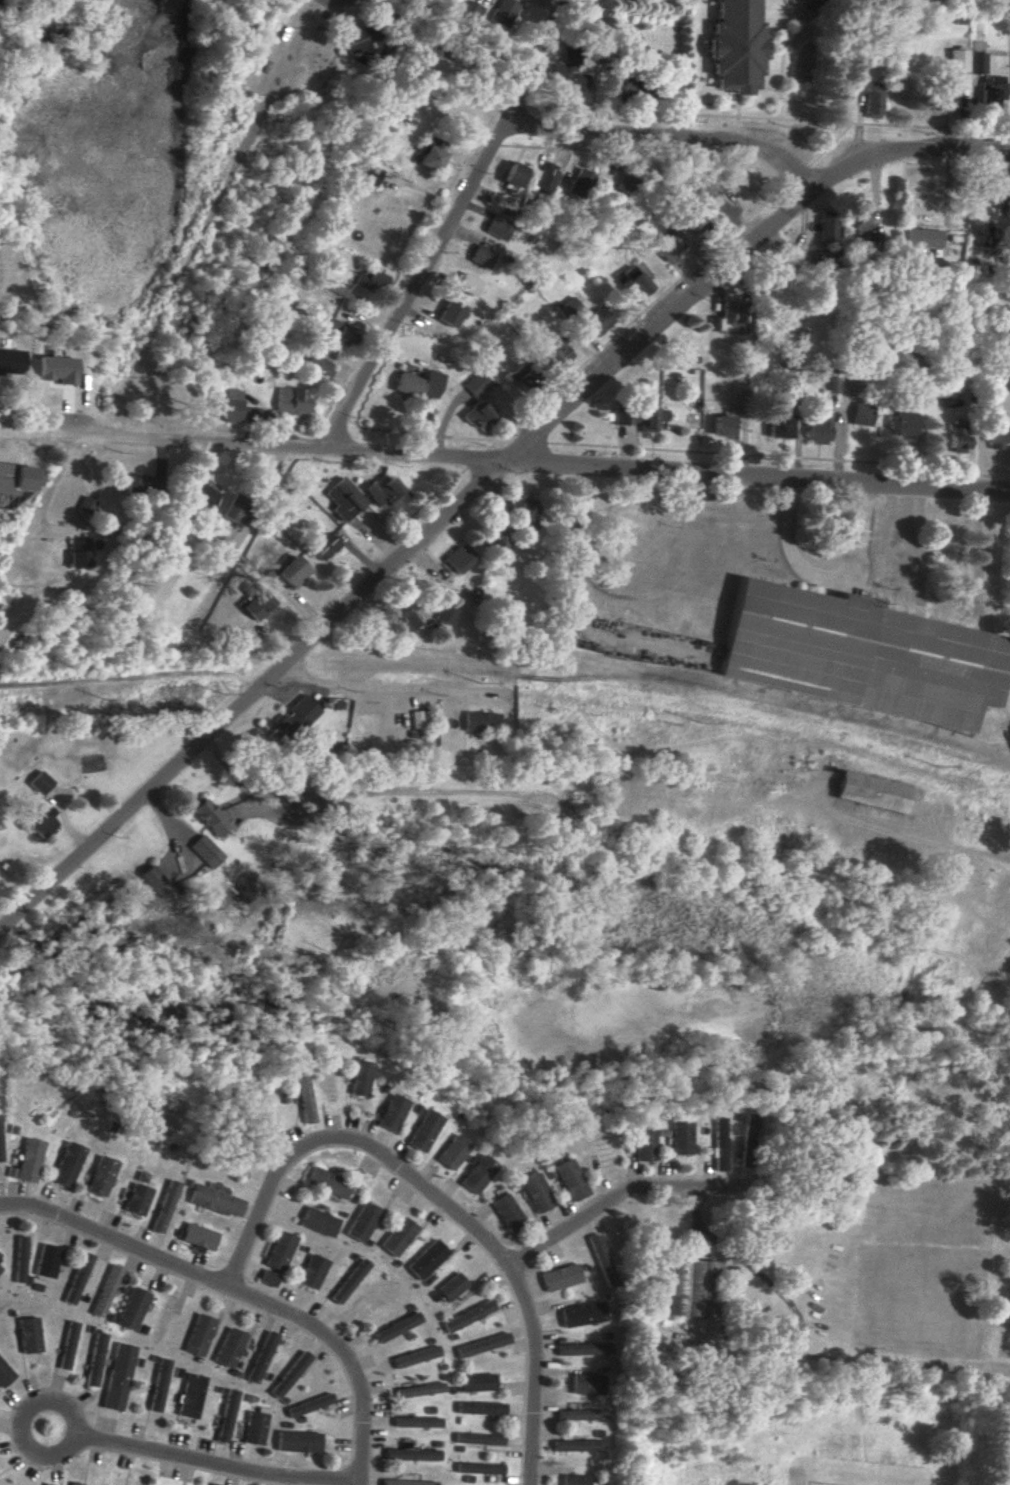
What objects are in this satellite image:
building: (466, 12)
building: (501, 13)
building: (361, 42)
building: (736, 45)
building: (957, 60)
building: (569, 79)
building: (990, 91)
building: (870, 97)
building: (944, 100)
road: (670, 136)
road: (907, 153)
building: (428, 158)
building: (513, 174)
building: (546, 178)
building: (579, 183)
building: (860, 218)
road: (453, 226)
building: (497, 227)
building: (826, 229)
building: (924, 237)
building: (870, 242)
building: (669, 244)
building: (480, 256)
building: (370, 279)
building: (632, 283)
building: (467, 284)
building: (569, 308)
building: (597, 323)
building: (338, 332)
building: (557, 353)
building: (317, 364)
building: (521, 376)
building: (420, 384)
building: (477, 384)
building: (831, 384)
building: (738, 395)
building: (290, 401)
building: (231, 405)
building: (477, 415)
building: (779, 425)
building: (901, 425)
building: (720, 426)
building: (817, 428)
building: (956, 434)
road: (504, 460)
road: (55, 478)
building: (15, 485)
building: (131, 485)
building: (349, 494)
building: (386, 494)
building: (201, 495)
building: (86, 505)
building: (236, 509)
building: (521, 512)
road: (720, 515)
building: (323, 546)
building: (80, 552)
building: (225, 556)
building: (457, 558)
road: (402, 559)
building: (292, 569)
road: (820, 571)
building: (258, 603)
building: (446, 610)
building: (402, 618)
building: (858, 655)
road: (391, 689)
building: (293, 721)
building: (481, 721)
building: (41, 782)
building: (870, 791)
building: (211, 817)
building: (40, 822)
building: (204, 848)
building: (155, 880)
building: (361, 1078)
building: (303, 1094)
building: (392, 1113)
building: (424, 1130)
building: (681, 1137)
building: (746, 1141)
building: (719, 1143)
building: (645, 1144)
building: (0, 1151)
building: (453, 1152)
building: (29, 1160)
building: (67, 1164)
building: (478, 1174)
building: (101, 1176)
building: (571, 1179)
building: (327, 1183)
building: (536, 1192)
road: (626, 1194)
building: (138, 1199)
road: (443, 1200)
building: (217, 1201)
building: (165, 1206)
building: (507, 1212)
building: (319, 1221)
building: (362, 1222)
building: (398, 1236)
building: (199, 1237)
building: (280, 1250)
building: (20, 1259)
building: (426, 1259)
building: (601, 1259)
building: (47, 1260)
building: (0, 1268)
road: (749, 1268)
building: (312, 1271)
building: (560, 1277)
building: (268, 1278)
building: (349, 1280)
building: (688, 1287)
building: (449, 1288)
building: (106, 1290)
road: (239, 1291)
building: (132, 1308)
building: (582, 1314)
building: (468, 1316)
building: (396, 1327)
building: (29, 1335)
building: (199, 1335)
building: (482, 1344)
building: (67, 1346)
building: (229, 1347)
building: (583, 1348)
building: (263, 1355)
building: (415, 1356)
road: (836, 1356)
building: (95, 1359)
building: (5, 1374)
building: (290, 1375)
building: (118, 1376)
building: (476, 1382)
building: (587, 1384)
building: (158, 1385)
building: (419, 1389)
building: (191, 1395)
building: (309, 1405)
building: (480, 1408)
building: (579, 1413)
building: (225, 1416)
building: (416, 1422)
building: (254, 1428)
building: (478, 1438)
building: (298, 1441)
building: (577, 1445)
building: (412, 1454)
road: (199, 1462)
building: (479, 1468)
building: (407, 1480)
building: (575, 1480)
building: (77, 1483)
road: (358, 1483)
building: (47, 1484)

